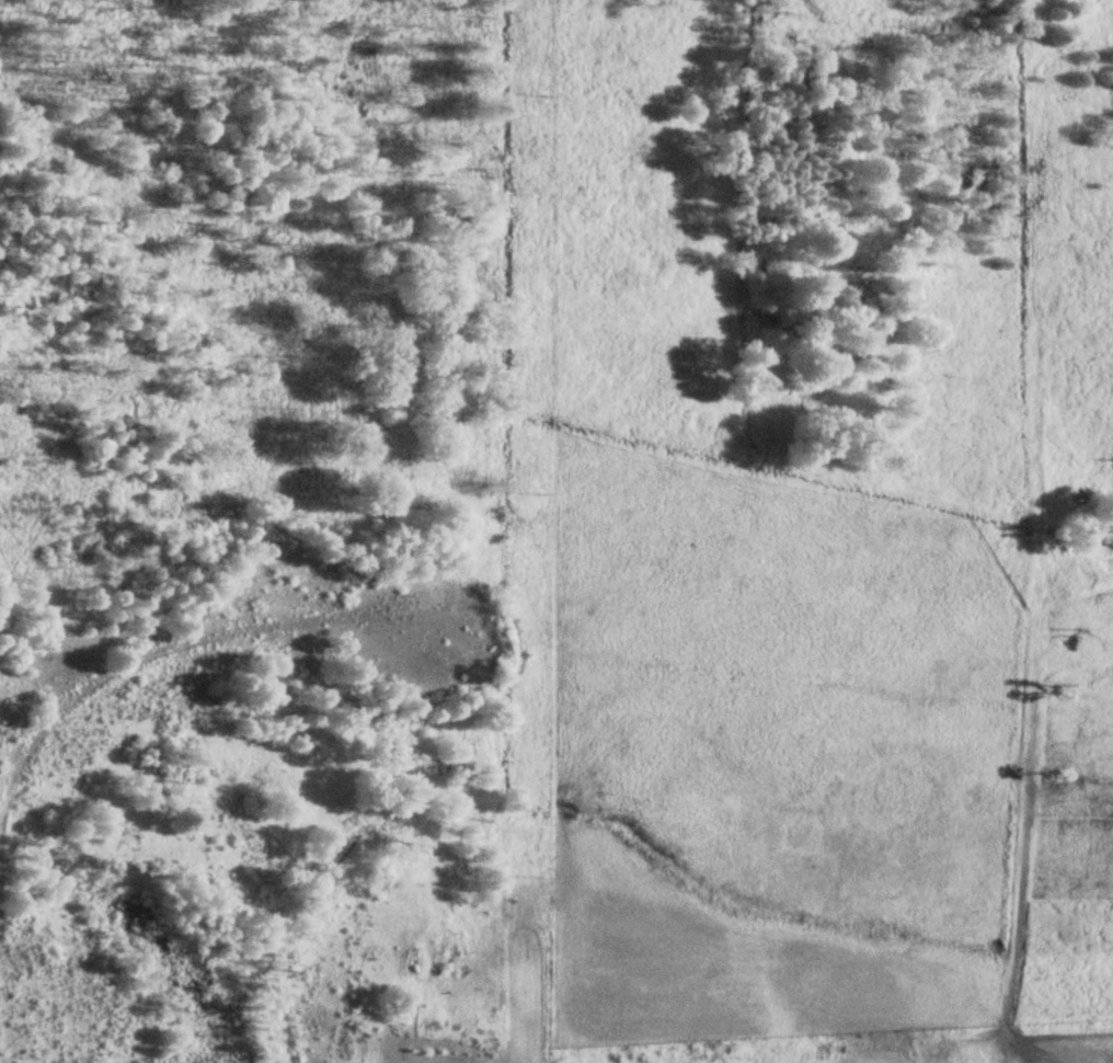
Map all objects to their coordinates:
road: (991, 531)
road: (147, 664)

